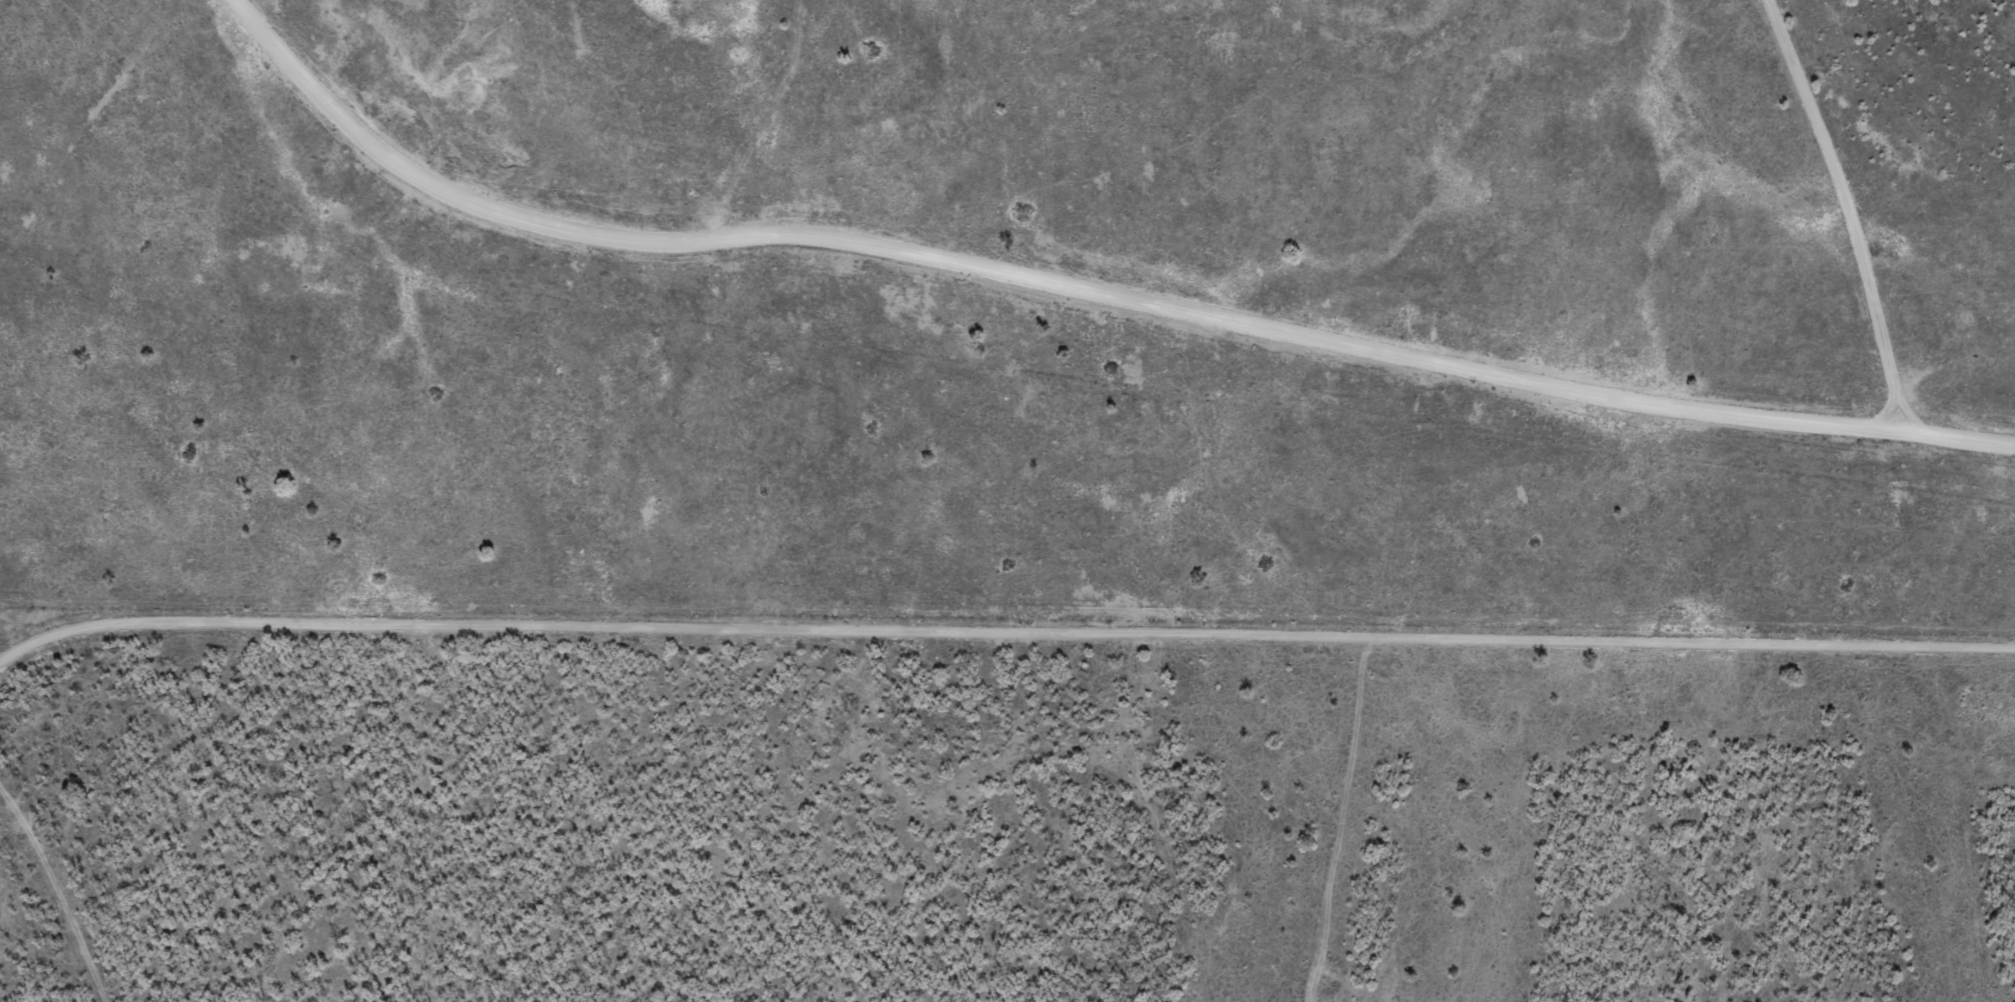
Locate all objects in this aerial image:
road: (1831, 198)
road: (1095, 279)

